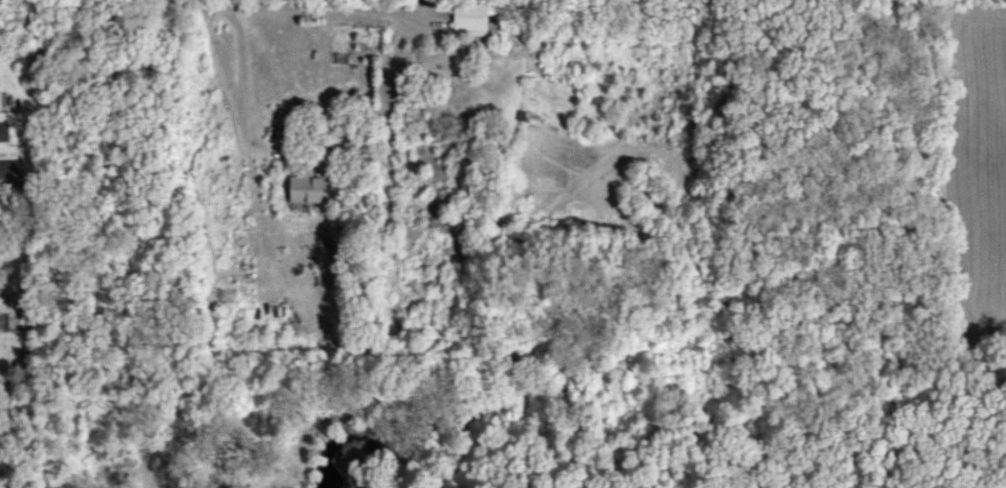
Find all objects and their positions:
road: (285, 6)
building: (468, 18)
road: (334, 91)
building: (0, 94)
building: (3, 132)
building: (9, 171)
building: (304, 189)

